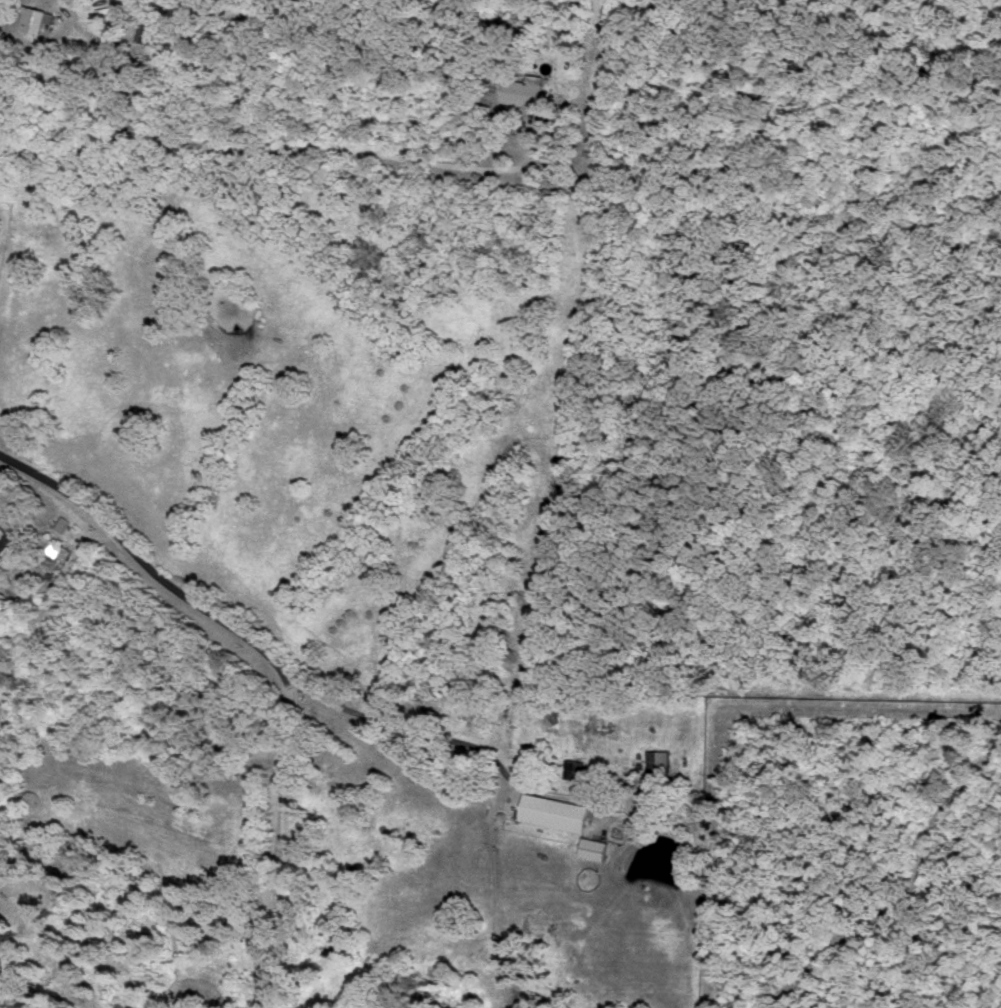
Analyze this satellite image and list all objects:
building: (37, 17)
building: (526, 90)
road: (291, 143)
building: (10, 537)
road: (137, 564)
building: (659, 763)
road: (458, 779)
building: (556, 811)
road: (144, 819)
road: (271, 834)
building: (595, 847)
road: (492, 896)

